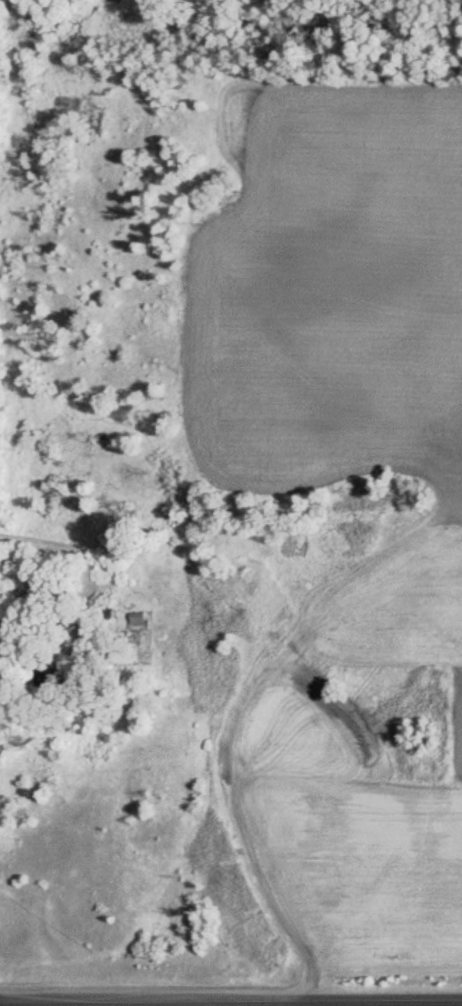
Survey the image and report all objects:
building: (138, 619)

